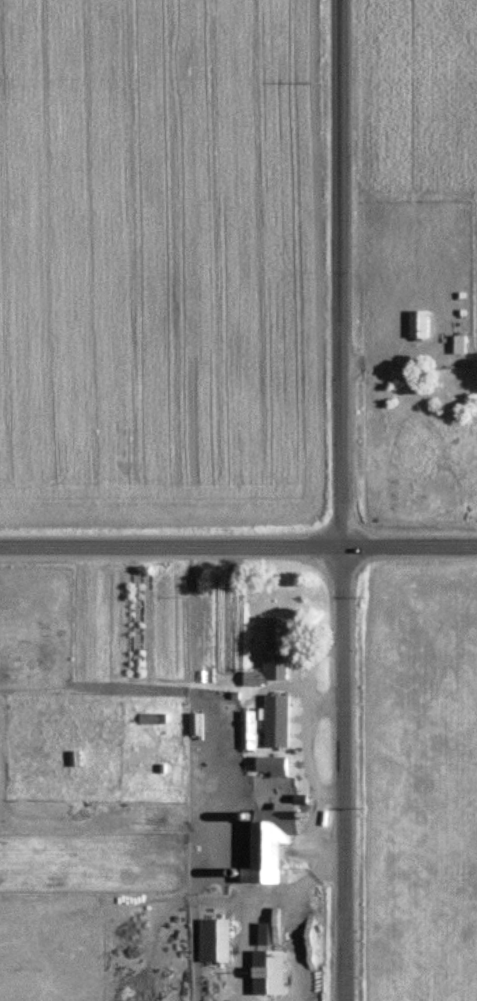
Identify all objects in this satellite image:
building: (418, 325)
road: (343, 500)
road: (238, 542)
building: (276, 648)
building: (151, 718)
building: (275, 720)
building: (194, 723)
building: (247, 729)
building: (270, 765)
building: (269, 842)
building: (212, 940)

